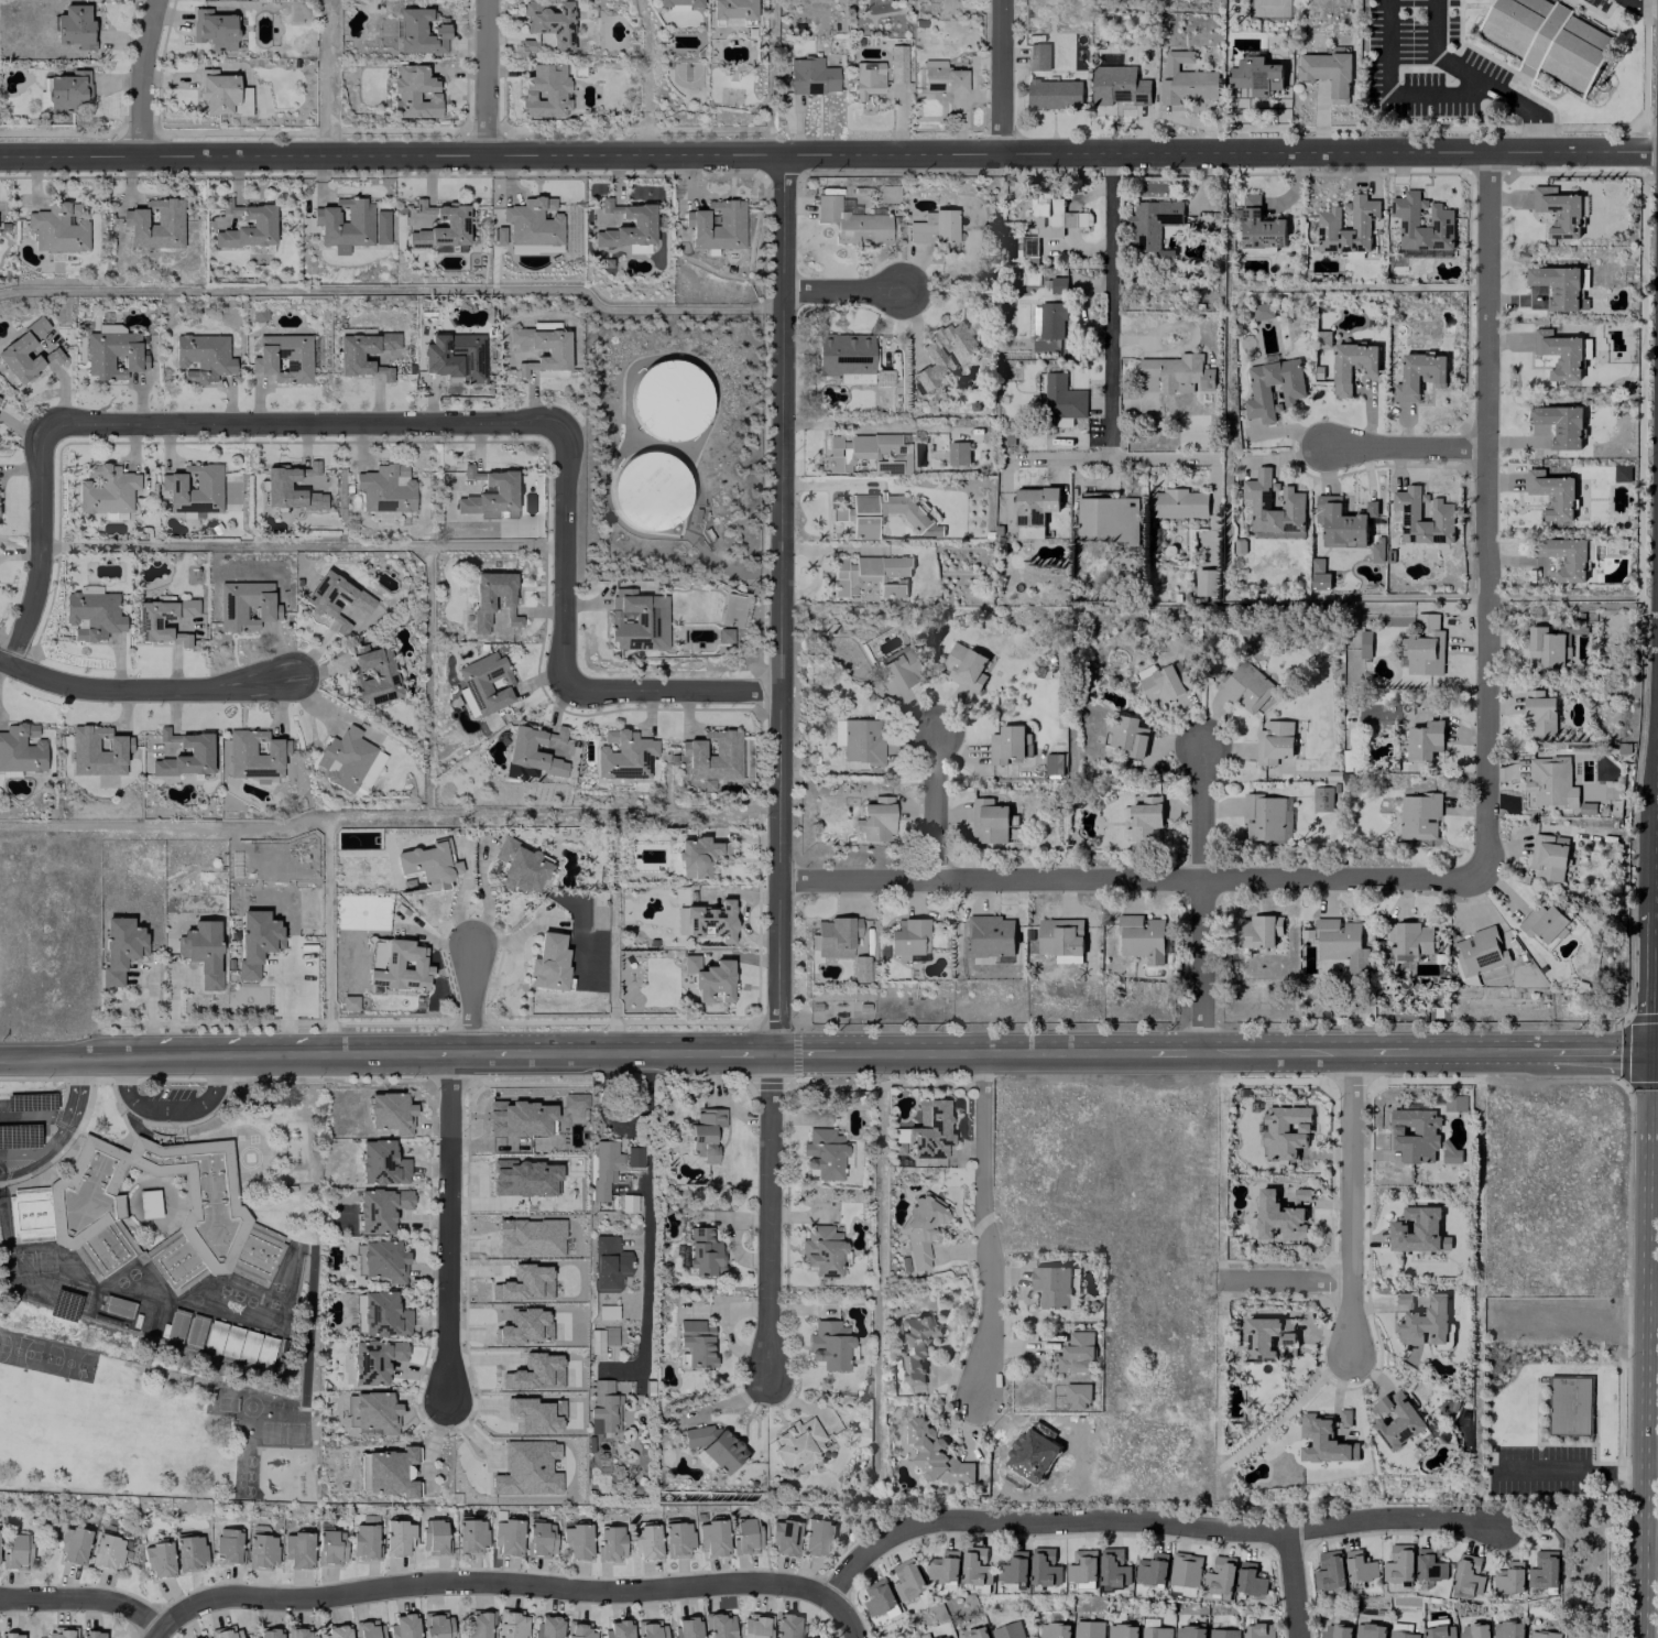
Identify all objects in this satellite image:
road: (1640, 3)
building: (677, 4)
building: (731, 9)
building: (547, 24)
building: (74, 25)
building: (214, 29)
building: (421, 30)
building: (1549, 39)
building: (1038, 56)
building: (897, 64)
building: (1328, 70)
building: (810, 75)
building: (1255, 75)
road: (140, 76)
building: (942, 76)
road: (999, 76)
road: (486, 77)
building: (866, 78)
road: (1484, 78)
building: (1185, 79)
building: (1117, 85)
building: (66, 88)
road: (1399, 89)
building: (219, 90)
building: (544, 90)
building: (414, 91)
building: (1055, 93)
road: (829, 152)
building: (1558, 210)
building: (1051, 216)
building: (533, 221)
building: (1440, 221)
building: (155, 223)
building: (261, 223)
building: (641, 223)
building: (350, 224)
building: (455, 224)
building: (717, 224)
building: (1153, 224)
building: (1328, 224)
building: (58, 227)
building: (1259, 227)
building: (936, 229)
building: (499, 235)
building: (1028, 247)
building: (1058, 284)
building: (1558, 286)
road: (840, 290)
road: (1110, 305)
building: (1261, 311)
building: (1051, 319)
building: (546, 325)
building: (358, 330)
building: (1045, 344)
building: (556, 349)
building: (23, 350)
building: (945, 350)
building: (112, 351)
building: (1559, 352)
building: (349, 355)
building: (203, 356)
building: (283, 357)
building: (457, 357)
building: (844, 357)
building: (1351, 365)
building: (1178, 372)
building: (385, 373)
building: (1418, 375)
building: (882, 377)
building: (1291, 390)
building: (1060, 398)
building: (670, 400)
road: (305, 422)
building: (1560, 424)
road: (839, 425)
road: (1409, 446)
building: (868, 453)
building: (958, 453)
road: (1122, 456)
building: (313, 466)
building: (276, 485)
building: (193, 487)
building: (385, 487)
building: (106, 488)
building: (651, 489)
building: (489, 493)
building: (1552, 493)
building: (1176, 502)
building: (1291, 503)
building: (1034, 510)
building: (879, 512)
building: (190, 513)
building: (1441, 513)
road: (1491, 513)
building: (109, 514)
building: (383, 514)
building: (1106, 516)
building: (1343, 521)
road: (43, 544)
road: (565, 554)
building: (1564, 557)
building: (869, 574)
building: (1207, 583)
building: (481, 600)
road: (778, 603)
building: (319, 604)
building: (246, 605)
building: (91, 614)
building: (162, 615)
building: (637, 619)
building: (723, 634)
building: (184, 640)
building: (1364, 644)
building: (1547, 646)
building: (1425, 647)
building: (963, 666)
building: (899, 670)
building: (375, 676)
building: (486, 682)
building: (1164, 684)
road: (143, 686)
building: (1245, 686)
road: (672, 687)
building: (1539, 713)
building: (558, 733)
building: (1128, 735)
building: (1425, 739)
building: (861, 740)
building: (1273, 740)
building: (1006, 744)
building: (21, 748)
building: (519, 748)
building: (96, 750)
building: (198, 751)
building: (253, 755)
building: (622, 755)
building: (711, 755)
building: (1054, 763)
building: (853, 764)
building: (1551, 782)
building: (1321, 799)
road: (938, 805)
building: (1418, 816)
building: (1265, 817)
building: (876, 818)
building: (1144, 820)
building: (989, 821)
building: (697, 855)
building: (1548, 857)
building: (427, 864)
building: (520, 866)
road: (1132, 876)
road: (1208, 897)
road: (1650, 915)
building: (710, 920)
building: (1544, 924)
building: (1257, 931)
building: (836, 935)
building: (991, 935)
building: (1142, 937)
building: (1061, 939)
building: (1410, 939)
building: (254, 940)
building: (1341, 944)
building: (119, 947)
building: (201, 951)
building: (1479, 952)
building: (548, 962)
building: (396, 964)
building: (859, 967)
building: (709, 978)
road: (469, 997)
road: (285, 1005)
road: (1002, 1050)
road: (1174, 1050)
road: (1284, 1050)
road: (1384, 1050)
road: (623, 1051)
road: (821, 1051)
road: (502, 1052)
road: (742, 1052)
road: (1472, 1052)
road: (426, 1053)
road: (192, 1055)
road: (1589, 1055)
traffic signals: (1646, 1056)
road: (1651, 1056)
road: (1646, 1071)
road: (167, 1105)
building: (1453, 1105)
building: (390, 1111)
road: (63, 1129)
building: (929, 1129)
building: (706, 1131)
building: (1284, 1131)
building: (1419, 1137)
building: (823, 1152)
building: (381, 1162)
building: (610, 1164)
road: (24, 1169)
road: (1354, 1200)
road: (645, 1203)
building: (380, 1208)
building: (157, 1211)
building: (1280, 1216)
road: (774, 1219)
road: (986, 1224)
road: (445, 1225)
building: (921, 1228)
building: (1417, 1230)
building: (821, 1250)
building: (702, 1251)
building: (381, 1260)
building: (608, 1262)
road: (1286, 1280)
building: (1051, 1286)
building: (382, 1313)
building: (1422, 1319)
road: (1644, 1321)
building: (1264, 1338)
building: (696, 1342)
building: (237, 1343)
building: (829, 1344)
building: (915, 1345)
building: (1076, 1353)
building: (374, 1359)
building: (1077, 1396)
building: (603, 1406)
building: (1569, 1406)
building: (371, 1412)
building: (1343, 1415)
building: (1396, 1420)
building: (1321, 1442)
building: (797, 1443)
building: (715, 1444)
building: (935, 1454)
road: (1582, 1469)
building: (390, 1471)
building: (471, 1534)
building: (745, 1534)
building: (506, 1536)
building: (816, 1536)
building: (435, 1537)
building: (712, 1537)
building: (784, 1537)
building: (364, 1538)
building: (397, 1538)
building: (539, 1538)
building: (677, 1539)
building: (610, 1542)
building: (645, 1542)
building: (73, 1544)
building: (228, 1545)
building: (330, 1547)
road: (1649, 1549)
building: (15, 1550)
building: (297, 1550)
building: (262, 1551)
building: (107, 1552)
building: (190, 1552)
building: (159, 1559)
building: (1398, 1563)
building: (1430, 1564)
building: (975, 1566)
building: (1045, 1566)
building: (1082, 1566)
building: (1360, 1566)
building: (946, 1568)
building: (1014, 1568)
building: (1113, 1569)
building: (1152, 1569)
building: (1186, 1570)
building: (1329, 1570)
building: (1544, 1570)
building: (1220, 1575)
building: (1468, 1575)
building: (1509, 1577)
building: (1250, 1579)
building: (908, 1580)
road: (765, 1582)
road: (1295, 1586)
road: (1640, 1597)
building: (881, 1599)
road: (847, 1618)
building: (478, 1624)
building: (510, 1624)
building: (435, 1625)
building: (403, 1626)
building: (719, 1626)
building: (755, 1626)
building: (787, 1626)
building: (546, 1627)
building: (685, 1627)
building: (617, 1628)
building: (1438, 1628)
building: (369, 1629)
building: (578, 1629)
building: (648, 1629)
building: (1088, 1629)
building: (1507, 1629)
building: (1012, 1630)
building: (1054, 1630)
building: (1121, 1630)
building: (1257, 1630)
building: (1370, 1630)
building: (1474, 1630)
building: (61, 1631)
building: (297, 1631)
building: (335, 1631)
building: (1156, 1631)
building: (1189, 1631)
building: (1334, 1631)
building: (225, 1632)
building: (266, 1632)
building: (973, 1632)
building: (1223, 1632)
building: (91, 1634)
building: (1403, 1634)
building: (1542, 1634)
building: (12, 1635)
road: (157, 1635)
building: (198, 1637)
building: (943, 1637)

